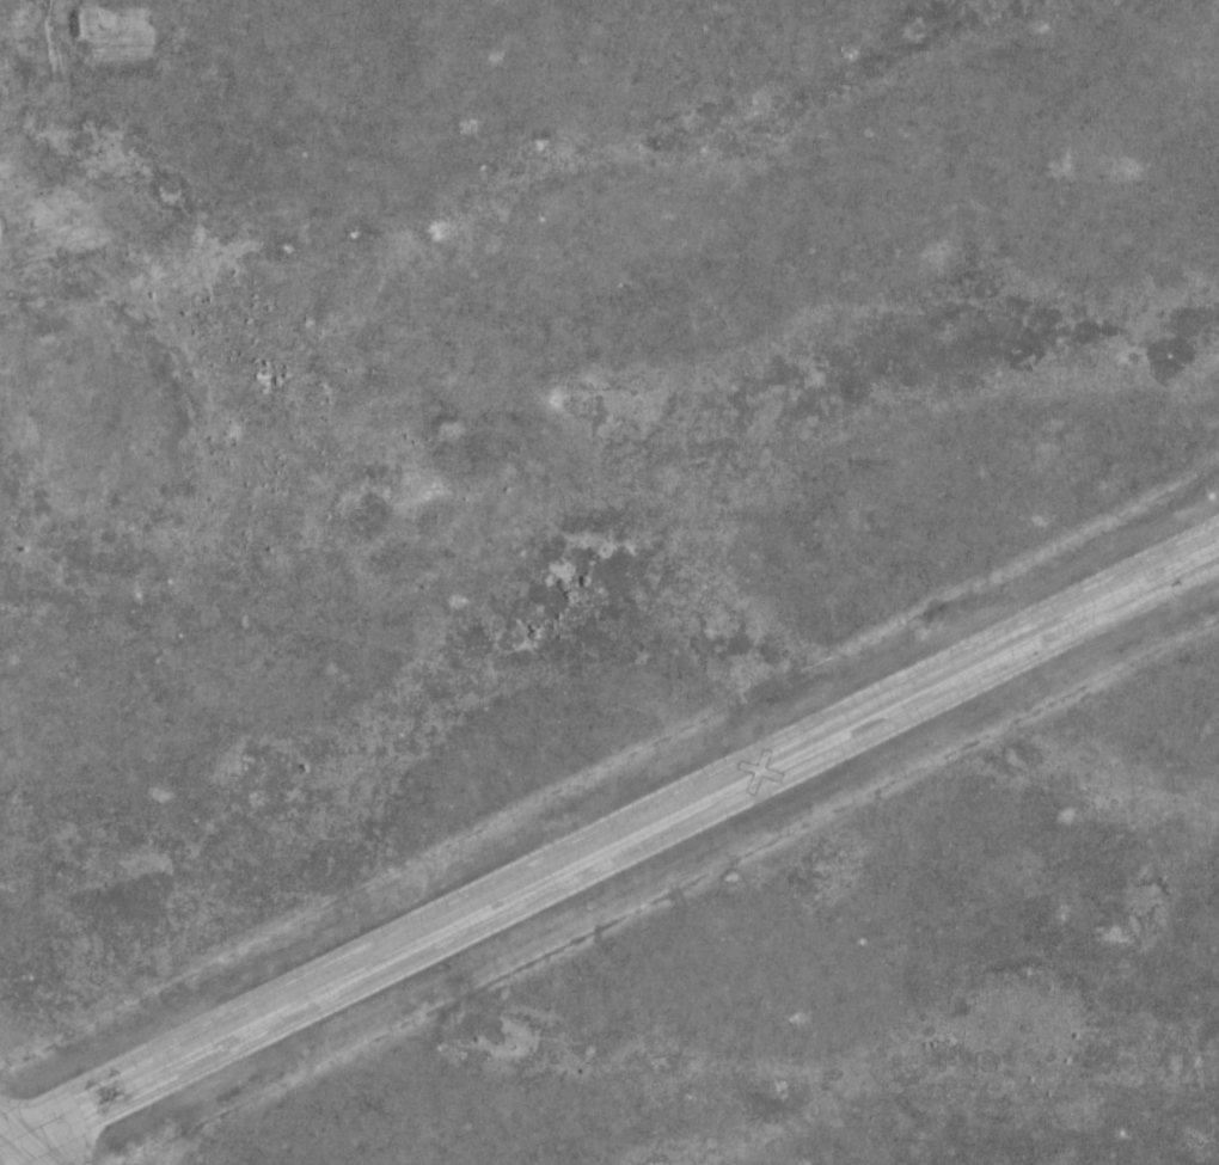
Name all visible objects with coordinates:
airport runway: (20, 1146)

